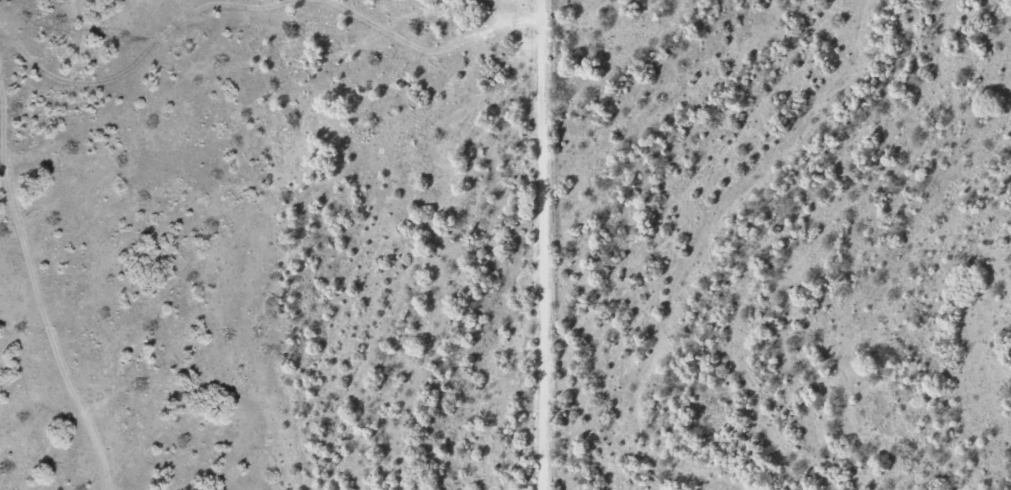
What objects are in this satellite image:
road: (518, 245)

